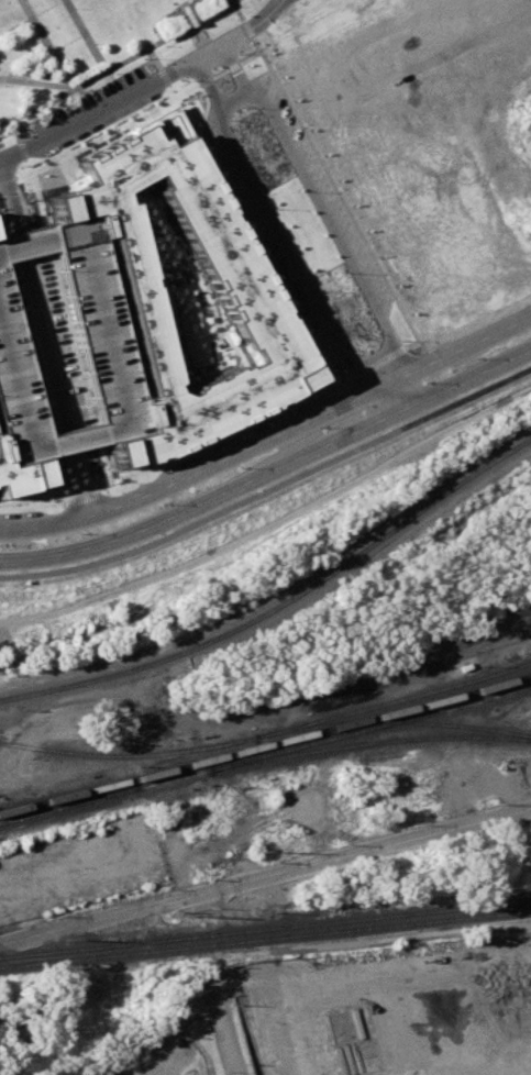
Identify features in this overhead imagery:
street lamp: (71, 8)
road: (233, 11)
street lamp: (219, 12)
road: (29, 16)
road: (250, 25)
road: (242, 29)
street lamp: (30, 31)
road: (80, 35)
street lamp: (91, 43)
road: (42, 44)
park: (81, 45)
street lamp: (161, 45)
road: (203, 51)
street lamp: (235, 53)
road: (38, 55)
road: (244, 57)
street lamp: (137, 58)
road: (148, 58)
road: (115, 63)
road: (229, 66)
street lamp: (48, 67)
road: (230, 68)
street lamp: (111, 73)
road: (215, 74)
road: (158, 76)
street lamp: (187, 79)
road: (201, 80)
road: (34, 84)
road: (202, 84)
street lamp: (3, 85)
road: (166, 90)
road: (229, 101)
street lamp: (55, 102)
street lamp: (248, 107)
road: (95, 109)
street lamp: (23, 119)
street lamp: (225, 120)
road: (14, 129)
street lamp: (102, 129)
road: (104, 131)
road: (20, 149)
road: (7, 179)
road: (32, 191)
street lamp: (299, 191)
road: (333, 195)
road: (11, 200)
street lamp: (269, 208)
street lamp: (4, 222)
road: (247, 243)
street lamp: (344, 271)
building: (234, 282)
street lamp: (313, 291)
building: (177, 295)
road: (67, 328)
street lamp: (397, 340)
building: (98, 342)
road: (45, 343)
street lamp: (471, 358)
road: (372, 364)
street lamp: (342, 370)
street lamp: (421, 381)
road: (380, 385)
road: (387, 399)
traffic signals: (349, 402)
road: (89, 413)
street lamp: (316, 425)
road: (222, 436)
road: (269, 436)
road: (102, 466)
street lamp: (236, 466)
road: (269, 466)
building: (19, 475)
road: (79, 481)
road: (269, 486)
road: (82, 498)
street lamp: (158, 503)
road: (33, 507)
road: (283, 528)
street lamp: (81, 531)
railway: (281, 603)
road: (261, 717)
railway: (395, 721)
railway: (254, 722)
railway: (268, 733)
railway: (367, 742)
railway: (265, 744)
railway: (136, 752)
railway: (266, 756)
railway: (262, 771)
railway: (69, 799)
road: (265, 874)
railway: (265, 928)
railway: (265, 938)
railway: (302, 946)
road: (223, 1026)

